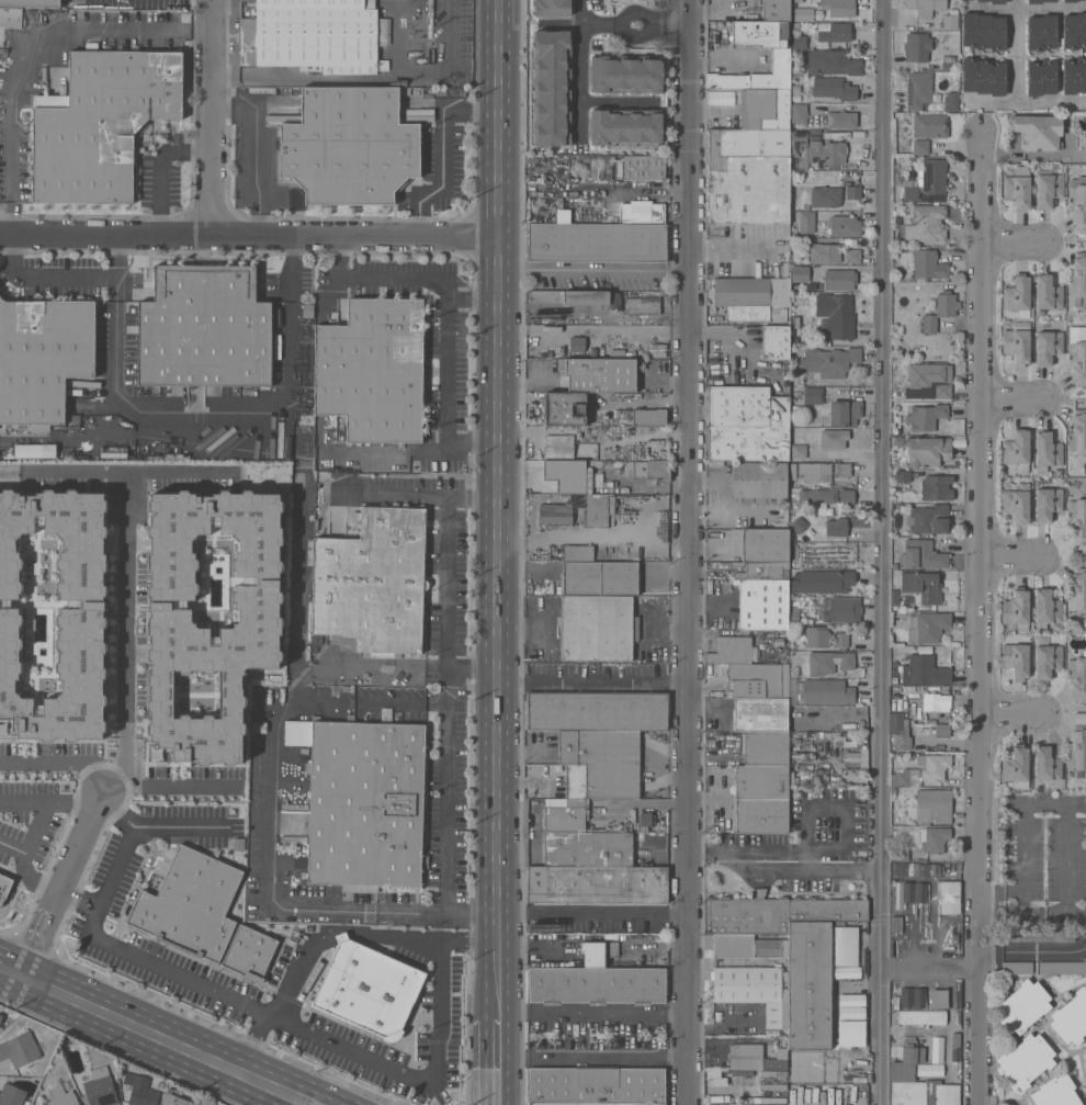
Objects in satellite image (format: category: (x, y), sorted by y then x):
building: (797, 1)
building: (994, 1)
building: (1038, 1)
building: (1070, 1)
building: (30, 2)
building: (925, 7)
building: (550, 8)
building: (839, 8)
building: (776, 10)
road: (692, 11)
road: (621, 14)
building: (804, 14)
building: (10, 18)
road: (71, 19)
road: (670, 19)
road: (584, 20)
building: (950, 20)
building: (983, 31)
building: (1074, 31)
building: (1041, 32)
building: (836, 33)
building: (314, 35)
road: (108, 36)
road: (645, 36)
building: (797, 45)
building: (917, 46)
road: (1016, 50)
building: (781, 60)
building: (832, 61)
building: (949, 64)
building: (624, 76)
building: (983, 76)
building: (1074, 76)
building: (1041, 77)
road: (343, 79)
road: (584, 80)
building: (550, 88)
building: (834, 88)
building: (918, 89)
building: (795, 90)
building: (795, 99)
building: (950, 101)
road: (1025, 101)
building: (799, 113)
building: (278, 114)
road: (213, 115)
road: (497, 119)
building: (841, 119)
building: (100, 123)
building: (929, 125)
building: (624, 128)
building: (1038, 132)
building: (837, 135)
building: (1082, 139)
building: (797, 142)
building: (349, 146)
building: (919, 147)
road: (256, 150)
road: (13, 151)
road: (442, 151)
building: (826, 153)
building: (751, 161)
building: (796, 165)
road: (159, 166)
building: (643, 167)
building: (934, 176)
building: (1048, 188)
building: (1017, 189)
building: (853, 192)
building: (910, 193)
building: (806, 196)
building: (825, 196)
building: (793, 201)
building: (1077, 205)
building: (640, 213)
building: (563, 216)
building: (806, 219)
building: (924, 224)
building: (844, 226)
road: (248, 233)
road: (1013, 240)
building: (597, 243)
road: (736, 246)
building: (824, 252)
building: (852, 256)
building: (928, 264)
building: (784, 268)
road: (593, 270)
road: (47, 274)
building: (800, 274)
building: (839, 280)
building: (1077, 280)
building: (811, 287)
building: (1048, 293)
building: (1017, 294)
building: (568, 296)
building: (751, 298)
building: (643, 305)
building: (940, 311)
building: (836, 315)
building: (794, 322)
building: (204, 328)
road: (595, 330)
building: (793, 341)
building: (774, 342)
building: (1017, 342)
building: (577, 343)
road: (446, 346)
building: (1048, 346)
building: (1077, 354)
building: (43, 358)
building: (829, 361)
building: (715, 365)
building: (774, 365)
building: (372, 370)
building: (600, 374)
building: (929, 381)
building: (813, 395)
road: (1011, 398)
building: (564, 408)
building: (844, 413)
building: (648, 417)
building: (925, 417)
building: (746, 424)
building: (1078, 435)
road: (202, 437)
building: (834, 439)
road: (81, 440)
building: (558, 446)
building: (1016, 450)
building: (799, 451)
building: (927, 451)
building: (1047, 452)
building: (830, 456)
building: (715, 463)
building: (652, 470)
road: (127, 471)
building: (1084, 471)
building: (816, 472)
building: (565, 475)
building: (588, 480)
building: (758, 480)
building: (902, 481)
building: (851, 484)
building: (937, 487)
road: (473, 494)
building: (817, 495)
building: (846, 497)
building: (1017, 503)
building: (1047, 503)
road: (652, 505)
building: (596, 510)
building: (830, 511)
building: (555, 516)
building: (780, 518)
building: (1077, 519)
building: (928, 520)
building: (799, 527)
building: (835, 527)
road: (596, 534)
building: (791, 539)
building: (763, 544)
road: (887, 552)
building: (921, 554)
road: (1011, 559)
road: (690, 563)
building: (766, 570)
road: (446, 571)
building: (599, 578)
building: (822, 580)
building: (372, 582)
road: (296, 586)
building: (920, 586)
building: (1077, 591)
road: (124, 602)
building: (762, 604)
building: (839, 609)
building: (1016, 609)
building: (1048, 611)
building: (792, 613)
building: (197, 619)
building: (49, 620)
road: (980, 620)
road: (498, 627)
building: (927, 627)
building: (597, 628)
building: (816, 636)
building: (840, 640)
building: (778, 643)
building: (732, 651)
building: (1016, 659)
building: (1047, 659)
building: (828, 662)
road: (351, 664)
building: (924, 670)
building: (1077, 678)
building: (755, 680)
road: (512, 685)
road: (608, 686)
building: (824, 691)
building: (896, 703)
building: (597, 711)
building: (759, 713)
road: (1010, 713)
building: (920, 715)
building: (799, 718)
building: (835, 742)
building: (765, 746)
building: (1077, 748)
building: (602, 760)
road: (60, 763)
building: (1047, 764)
building: (1016, 767)
road: (123, 768)
building: (921, 771)
building: (573, 780)
road: (167, 786)
road: (49, 799)
building: (760, 799)
building: (898, 802)
building: (365, 804)
building: (932, 807)
building: (564, 816)
road: (444, 819)
road: (1065, 820)
building: (645, 821)
parking lot: (31, 823)
road: (38, 826)
road: (177, 827)
building: (932, 838)
building: (654, 841)
road: (124, 845)
building: (559, 848)
building: (604, 848)
building: (901, 854)
road: (23, 868)
road: (832, 868)
building: (2, 882)
road: (137, 883)
building: (597, 883)
road: (60, 884)
road: (12, 893)
road: (270, 893)
building: (898, 894)
building: (948, 898)
building: (190, 904)
building: (826, 910)
building: (746, 914)
road: (592, 917)
building: (896, 924)
building: (913, 932)
road: (333, 933)
building: (1038, 935)
building: (894, 947)
road: (1031, 951)
building: (596, 952)
building: (249, 954)
road: (930, 965)
building: (1016, 967)
building: (1062, 967)
road: (11, 970)
building: (750, 974)
building: (817, 978)
building: (597, 984)
building: (359, 989)
building: (959, 995)
building: (913, 997)
building: (938, 999)
building: (851, 1001)
building: (895, 1003)
building: (1021, 1006)
building: (0, 1013)
building: (851, 1013)
road: (613, 1015)
building: (0, 1016)
building: (921, 1017)
building: (1071, 1018)
building: (957, 1019)
building: (850, 1034)
road: (158, 1035)
road: (323, 1038)
building: (957, 1039)
road: (252, 1042)
building: (19, 1049)
building: (937, 1053)
building: (920, 1056)
building: (955, 1056)
building: (1085, 1056)
building: (745, 1057)
road: (593, 1058)
building: (1085, 1058)
road: (499, 1061)
building: (1025, 1061)
building: (904, 1064)
building: (929, 1070)
building: (745, 1073)
building: (715, 1076)
building: (747, 1082)
building: (53, 1083)
building: (596, 1084)
building: (66, 1085)
building: (159, 1085)
building: (100, 1087)
building: (138, 1090)
building: (1055, 1092)
building: (845, 1093)
building: (924, 1093)
building: (11, 1094)
building: (47, 1094)
building: (791, 1094)
building: (799, 1094)
building: (853, 1094)
road: (326, 1095)
building: (806, 1095)
building: (821, 1095)
building: (61, 1096)
building: (829, 1096)
building: (176, 1100)
building: (715, 1100)
road: (297, 1101)
building: (597, 1104)

